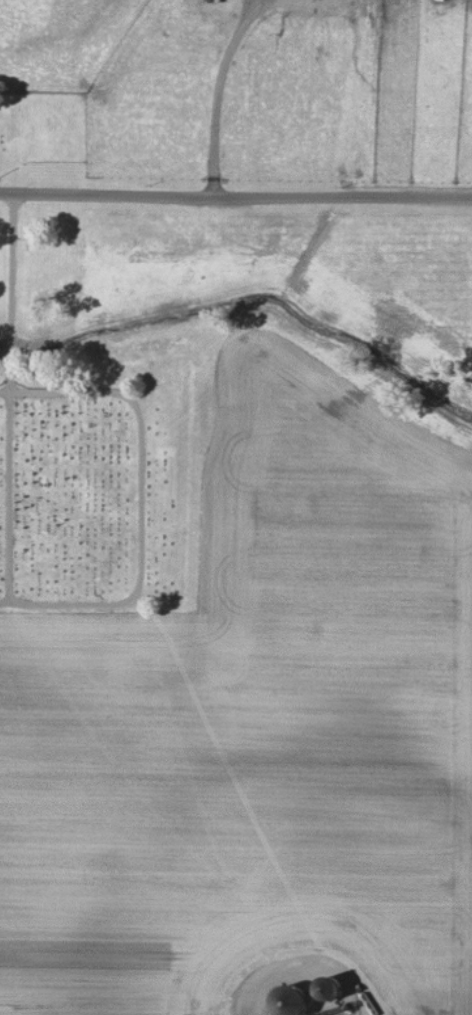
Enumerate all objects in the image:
road: (218, 88)
park: (41, 135)
road: (235, 195)
park: (86, 447)
road: (306, 963)

